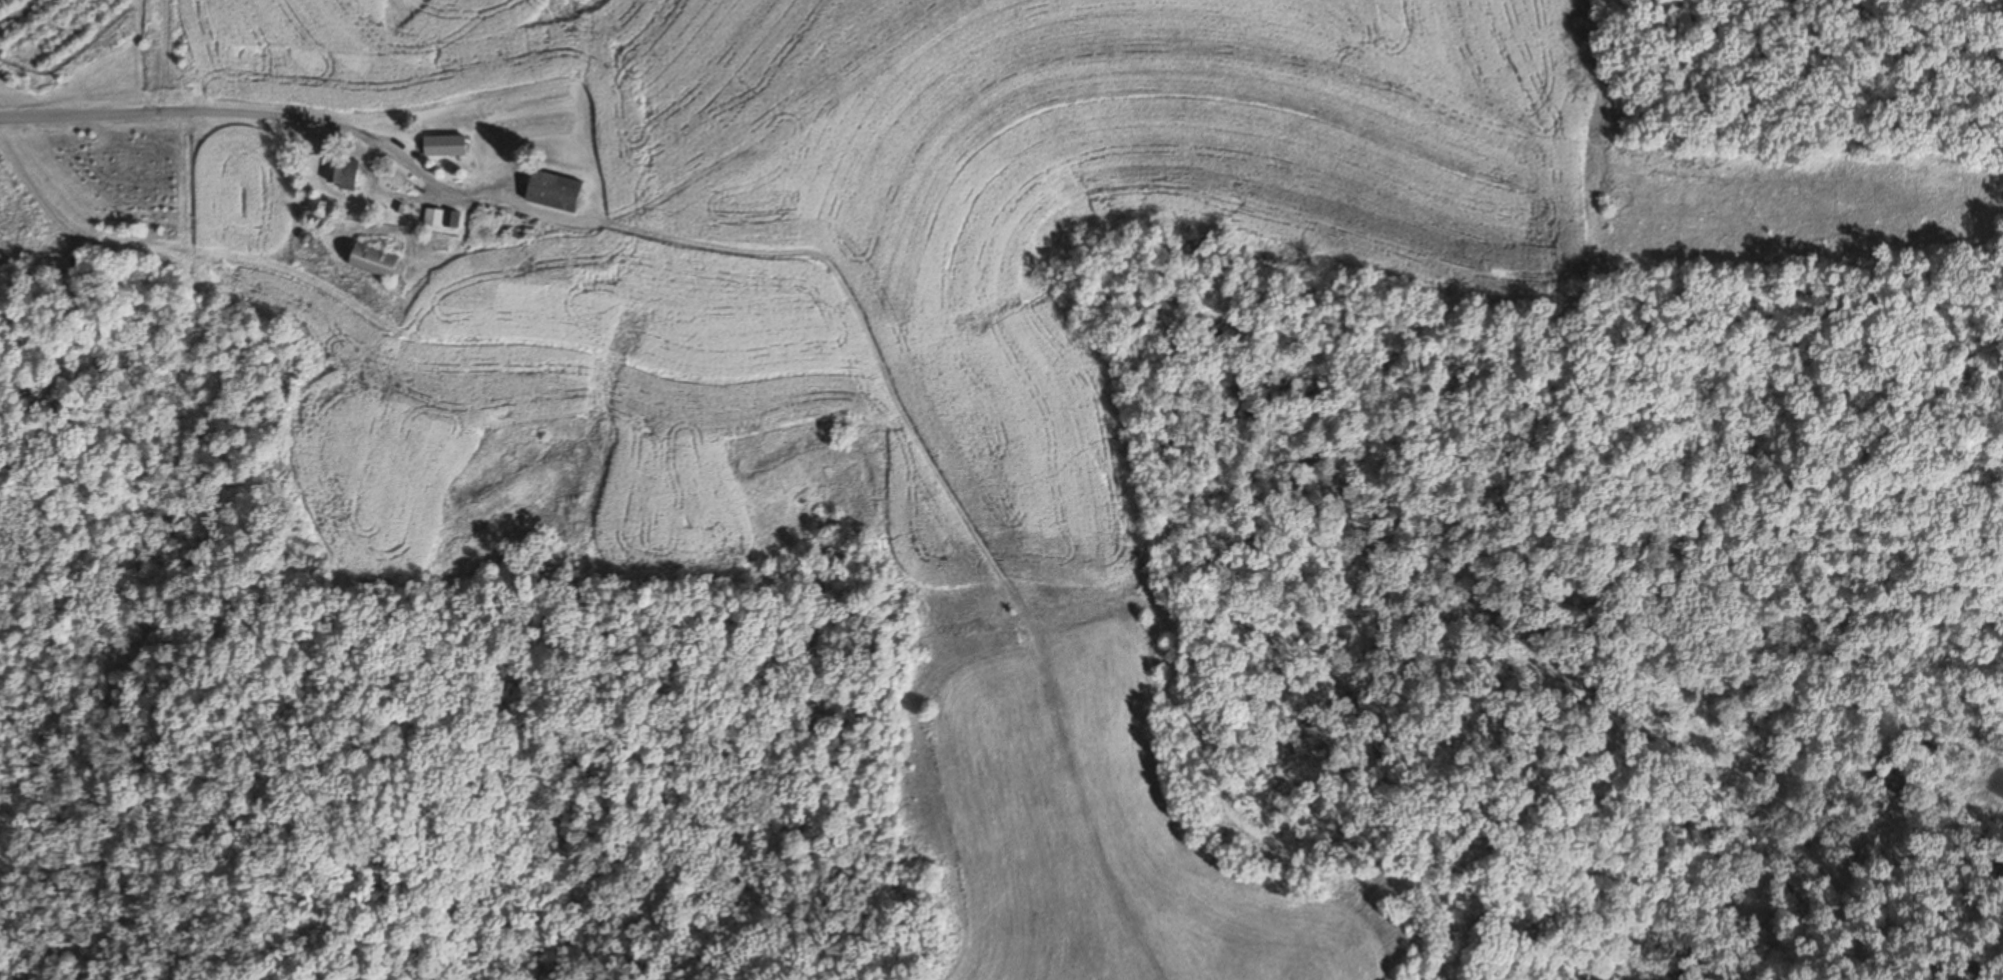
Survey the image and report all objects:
road: (171, 115)
building: (443, 146)
building: (341, 173)
building: (551, 192)
building: (440, 218)
building: (484, 224)
building: (370, 260)

